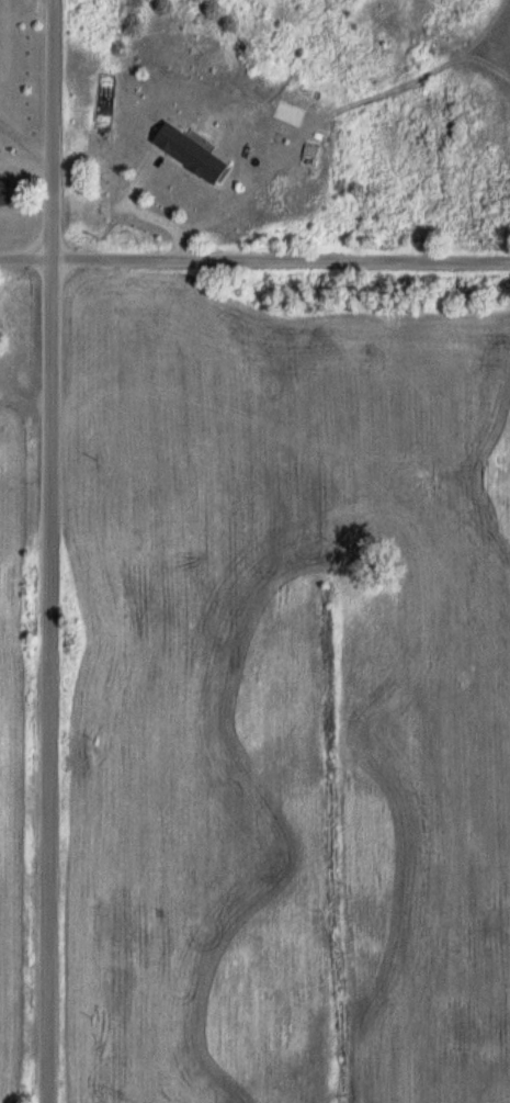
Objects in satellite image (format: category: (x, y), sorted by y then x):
building: (193, 156)
building: (8, 195)
road: (254, 258)
road: (47, 551)

